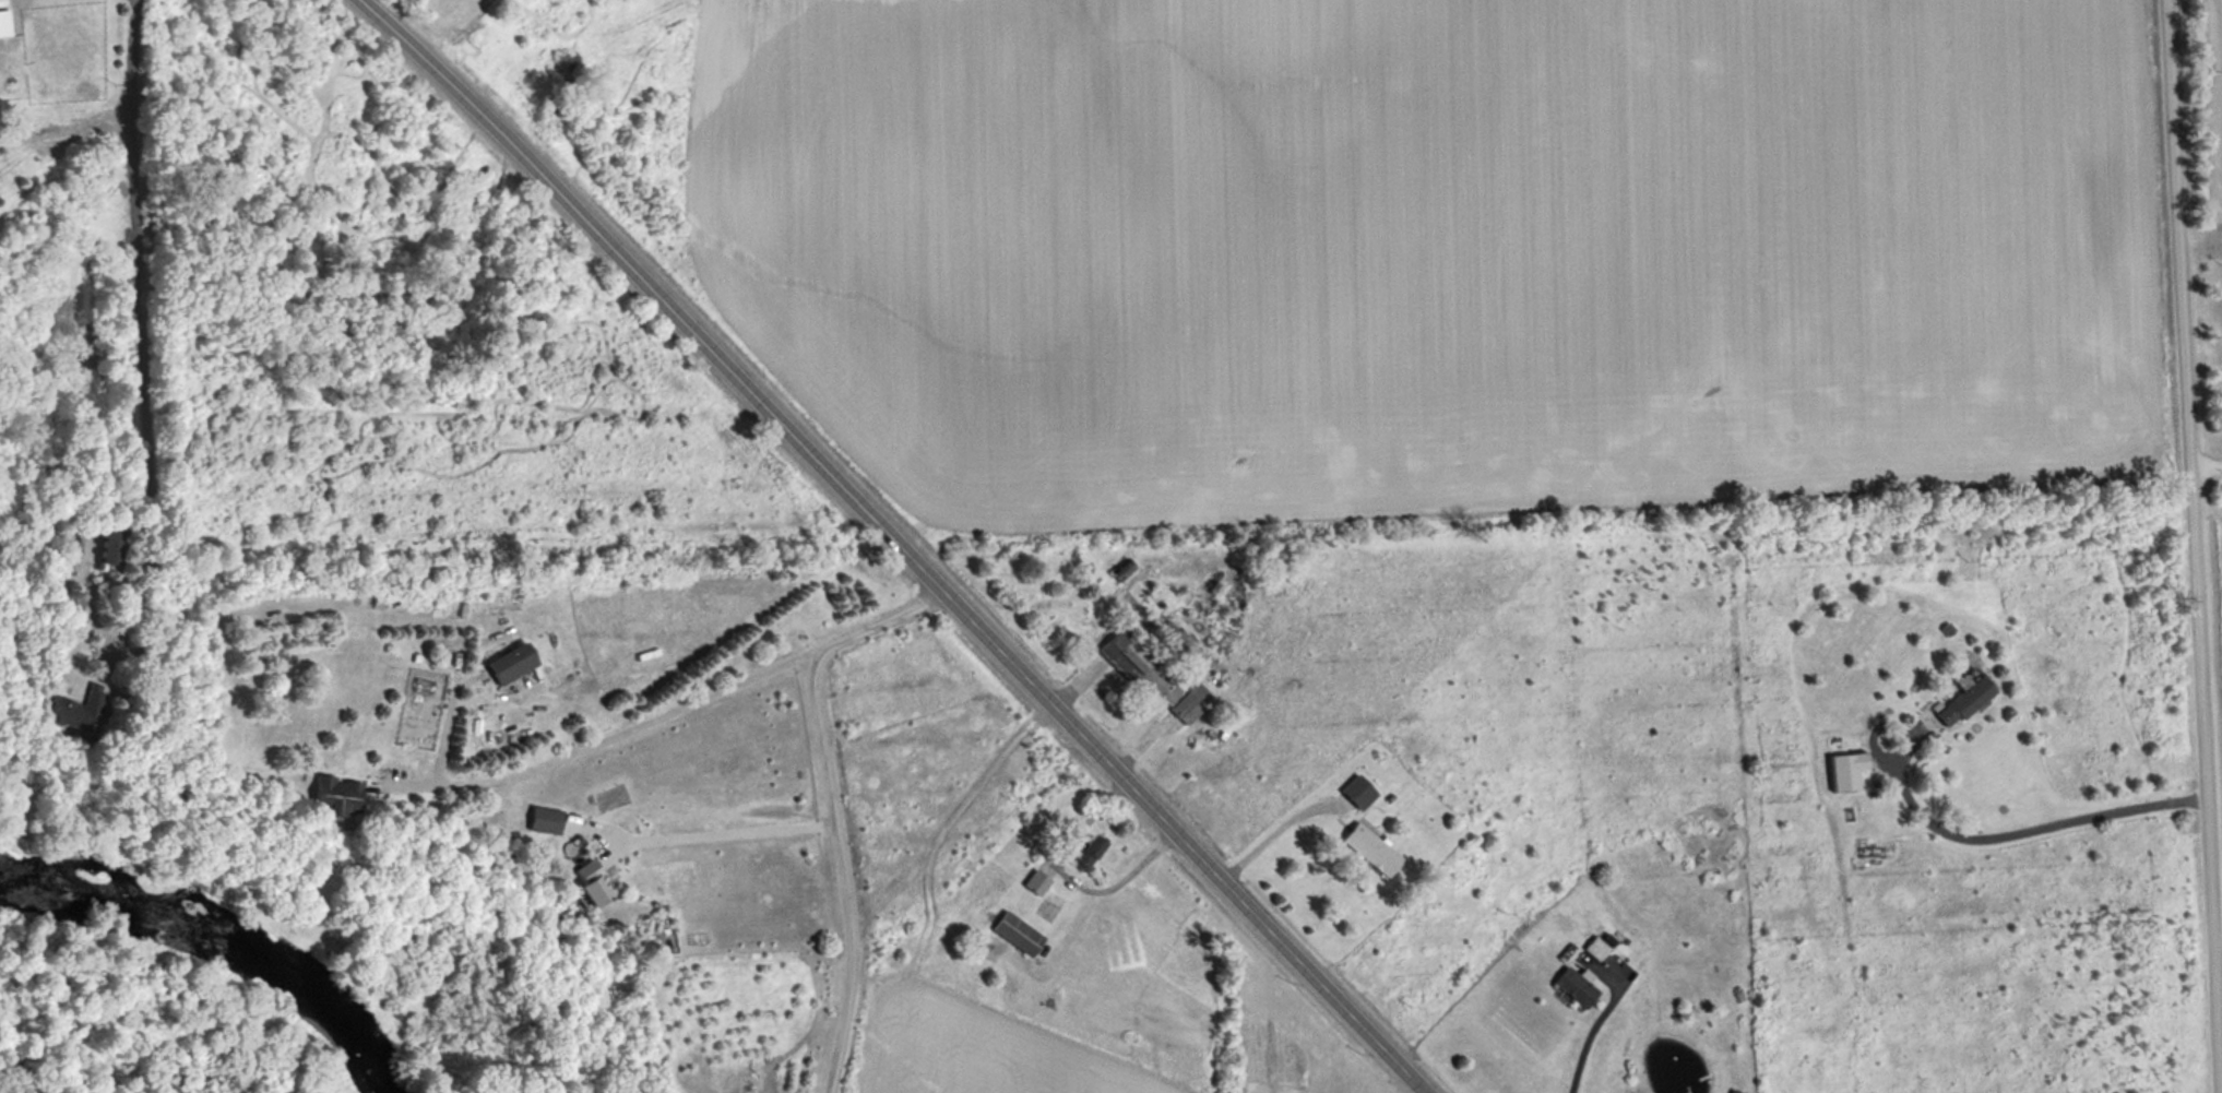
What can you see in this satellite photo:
building: (2, 19)
road: (892, 544)
road: (2188, 546)
building: (111, 547)
building: (513, 662)
building: (1155, 676)
building: (1966, 701)
building: (78, 710)
building: (1849, 770)
building: (337, 794)
building: (1357, 794)
building: (546, 820)
road: (1269, 828)
building: (1373, 850)
building: (1088, 851)
building: (595, 882)
building: (1037, 882)
building: (1053, 903)
building: (1018, 934)
building: (1596, 948)
building: (1577, 987)
road: (1587, 1024)

